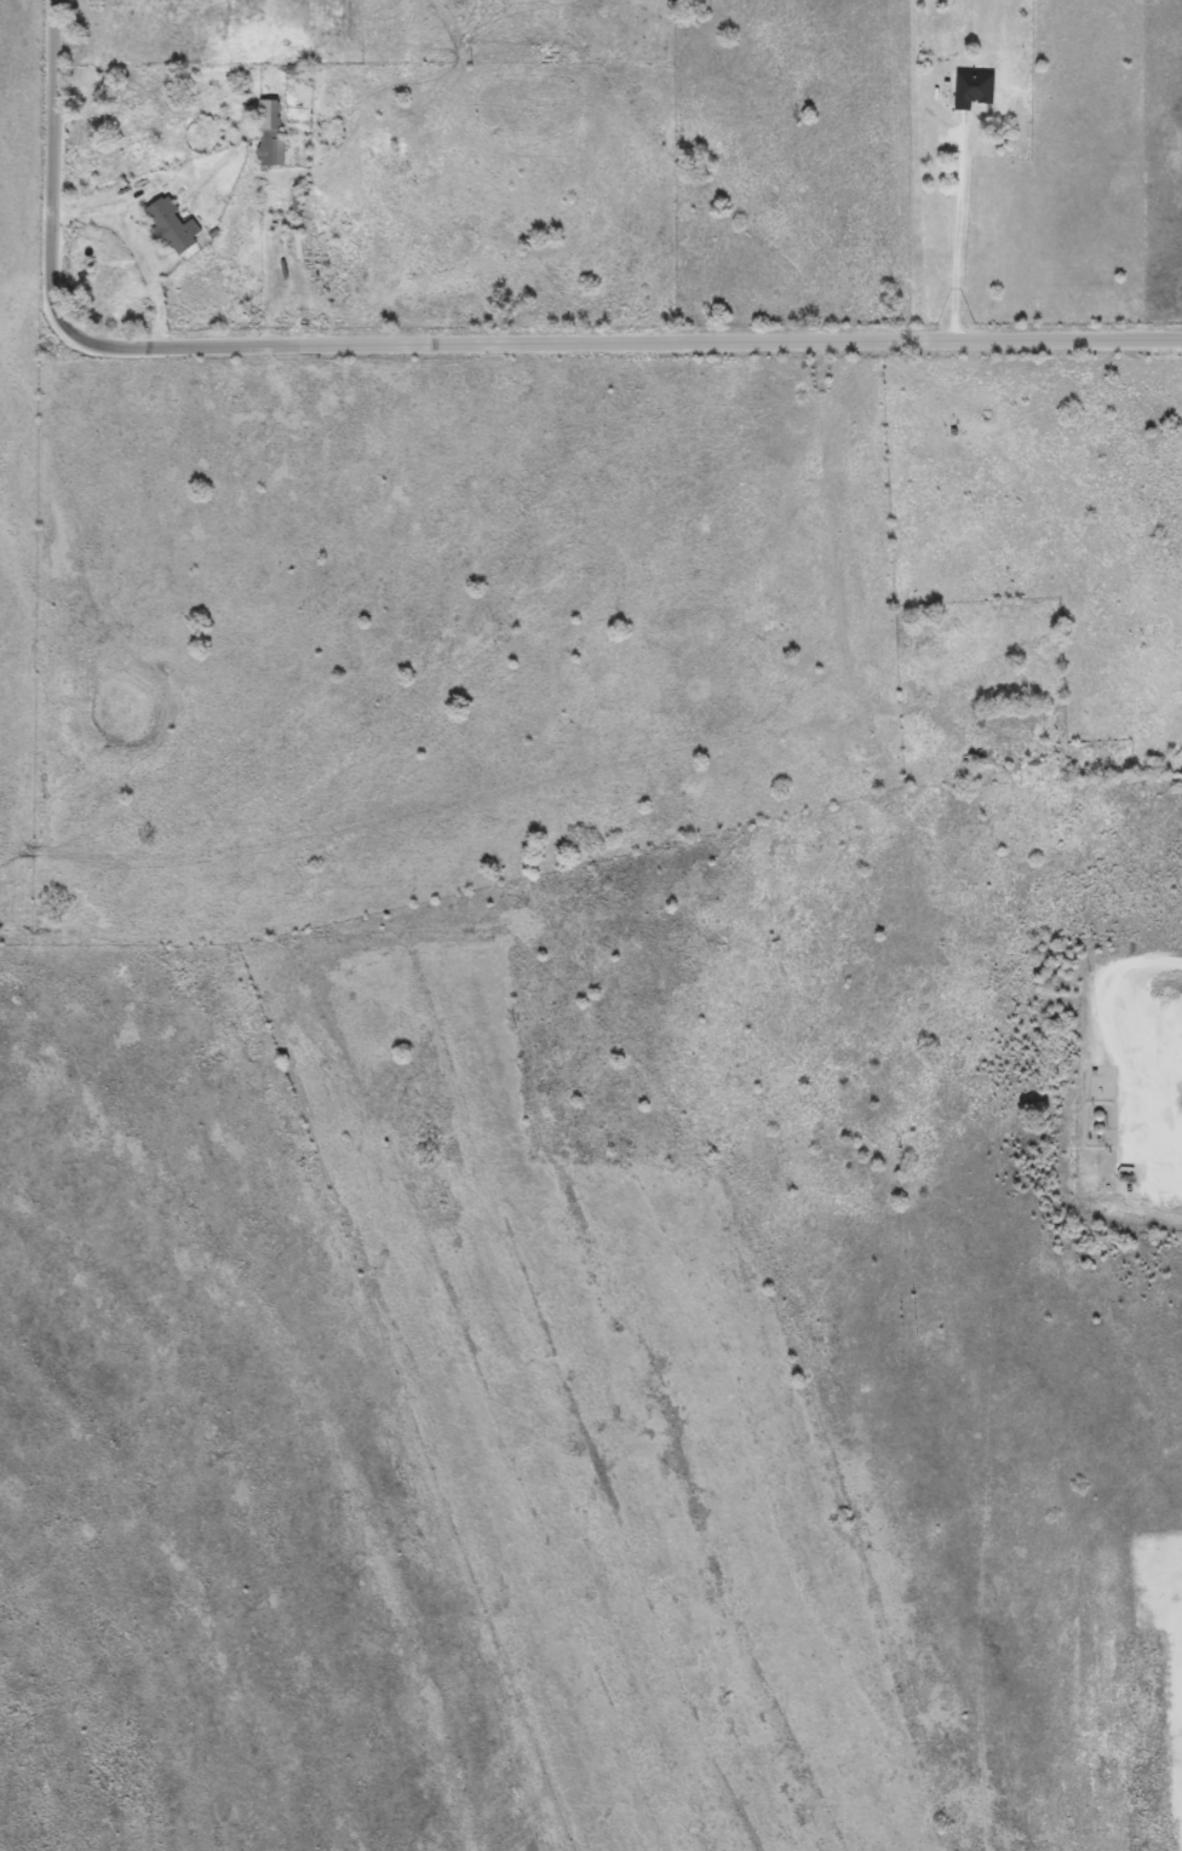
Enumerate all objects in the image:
building: (975, 88)
building: (271, 132)
building: (171, 225)
road: (953, 236)
road: (458, 346)
road: (1130, 1035)

